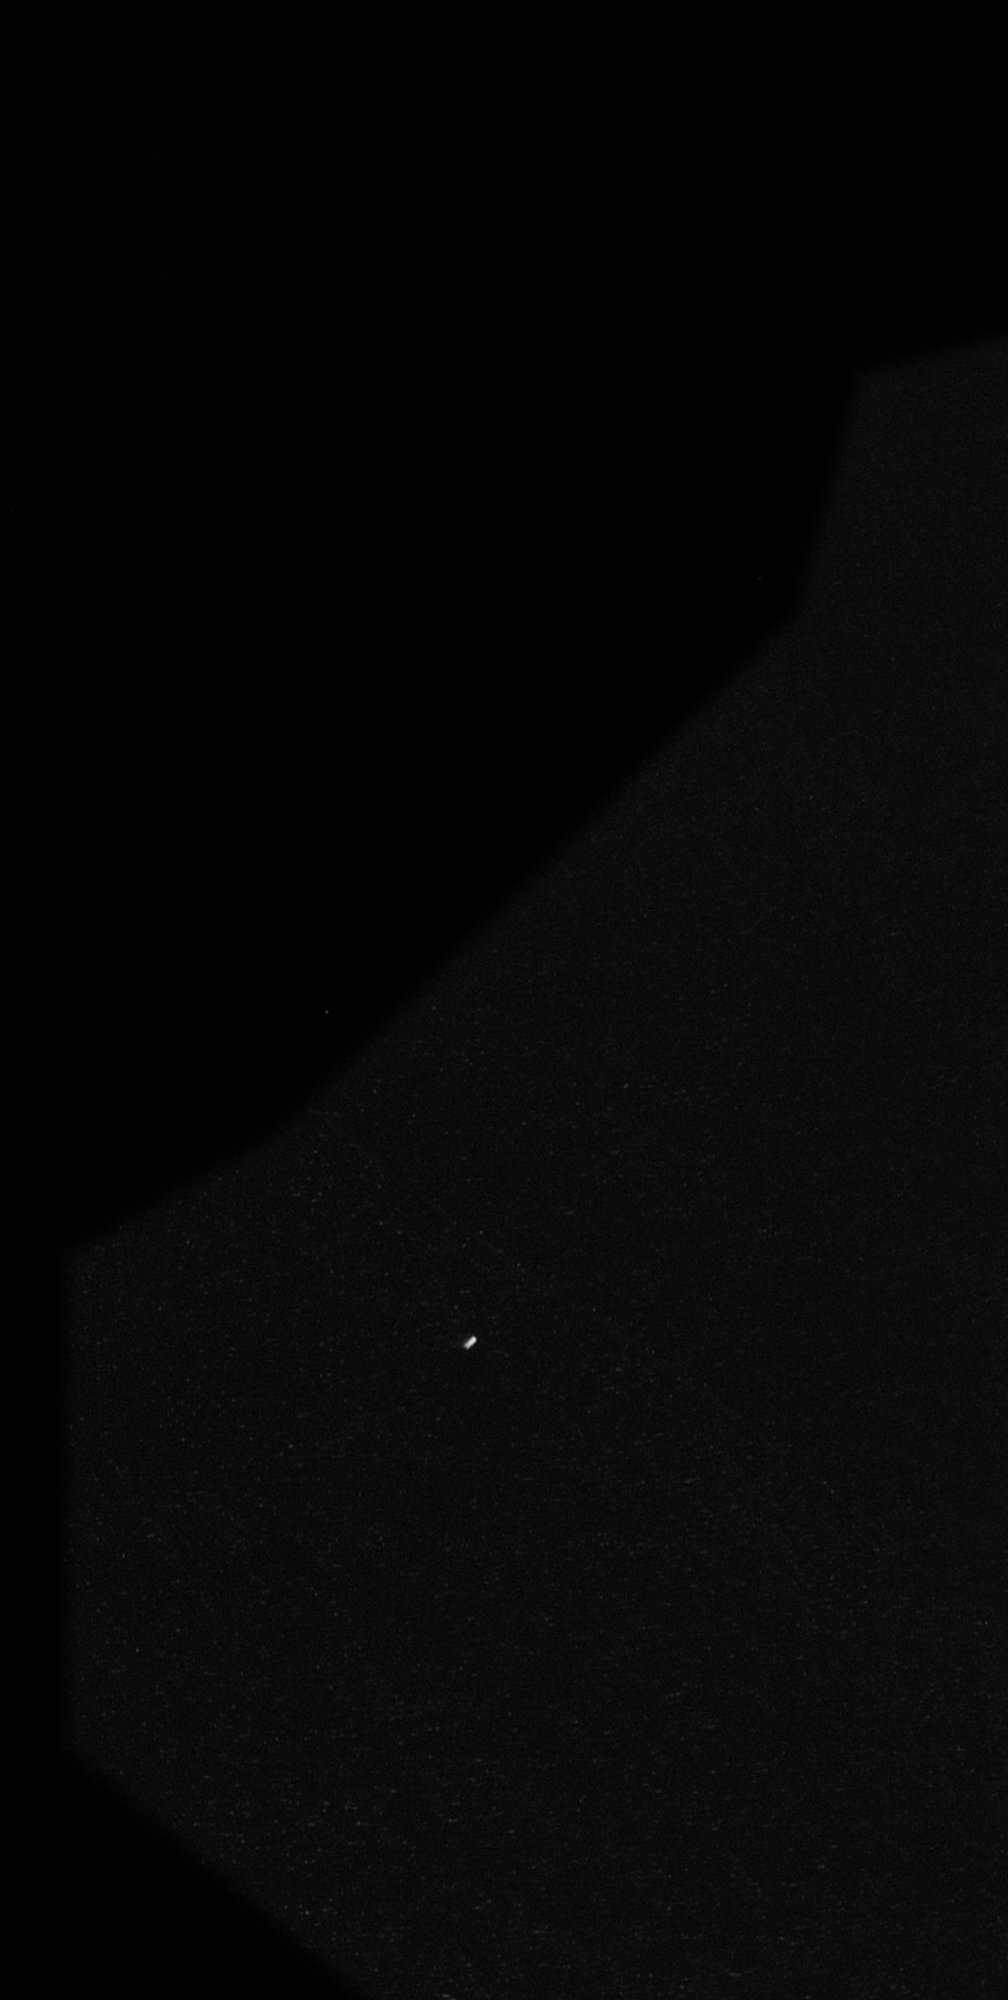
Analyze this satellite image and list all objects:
river: (341, 1636)

